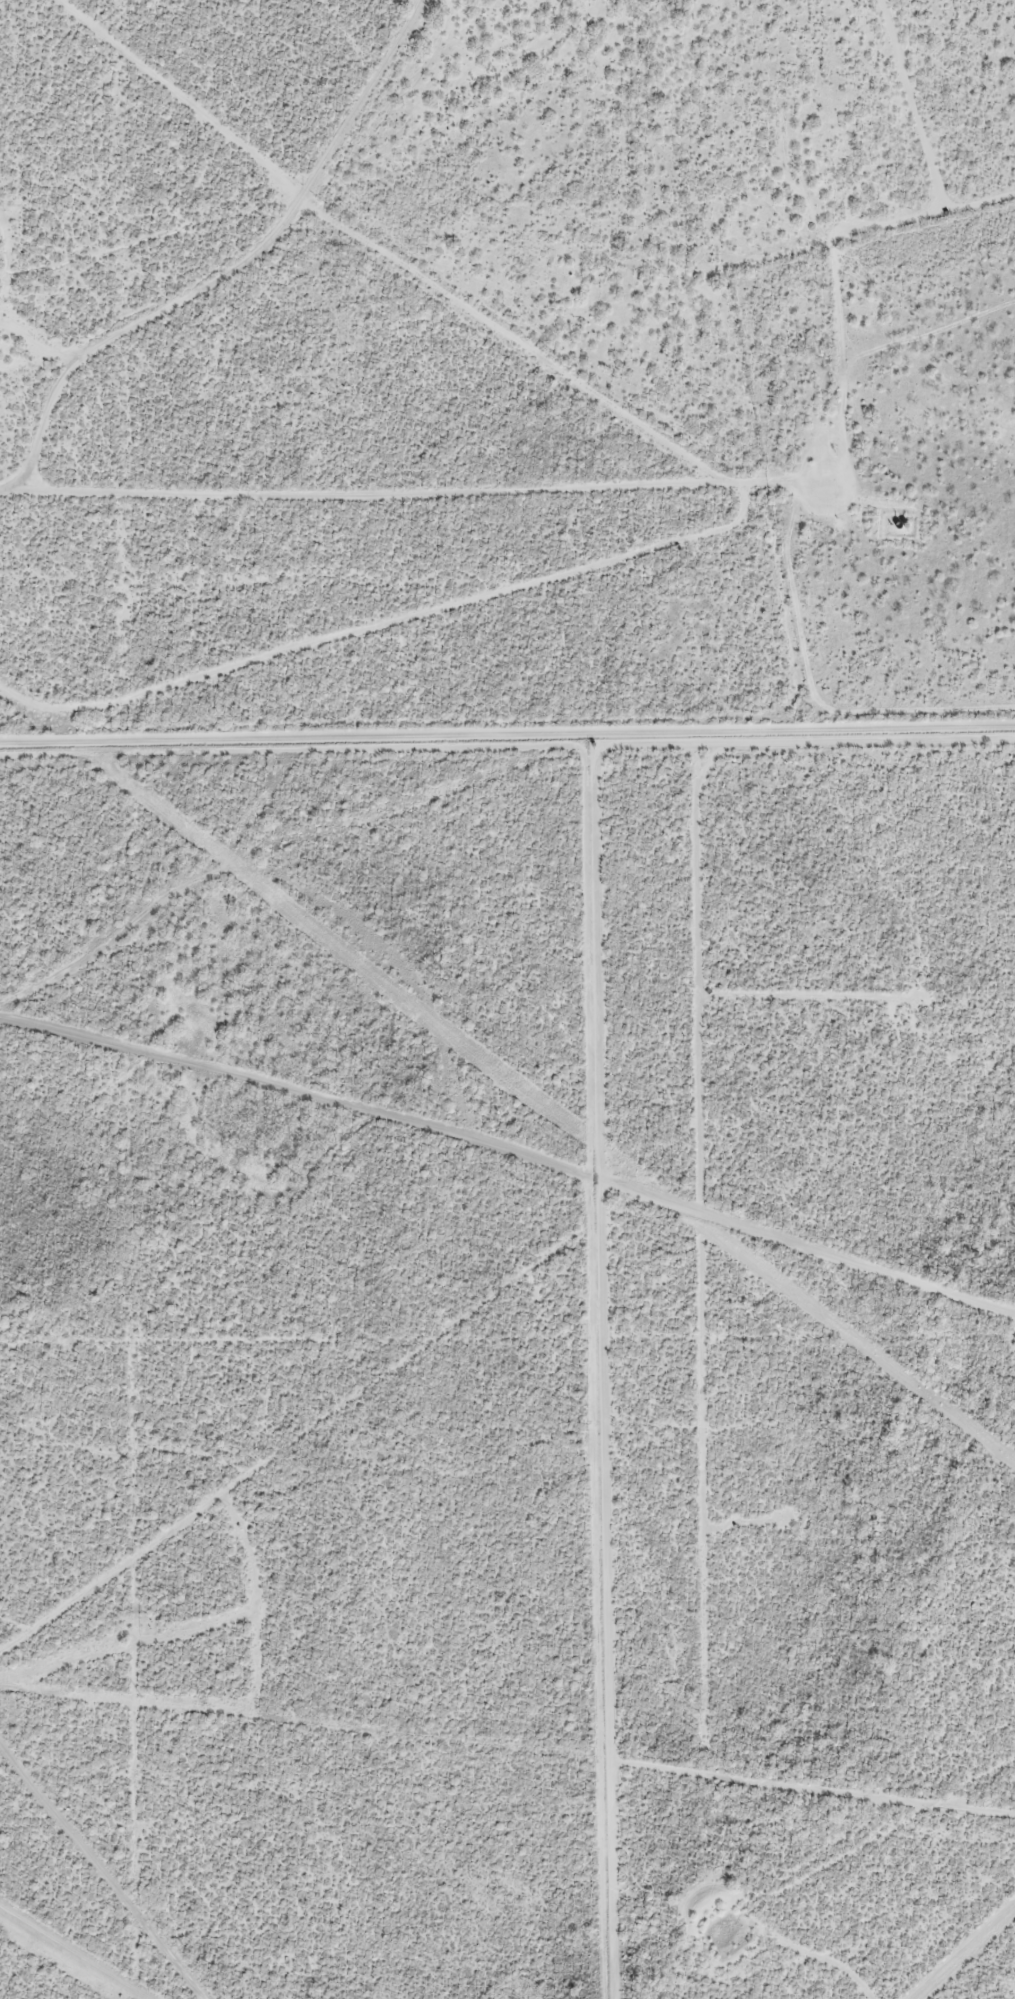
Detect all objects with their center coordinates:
road: (258, 201)
road: (506, 1465)
road: (112, 1855)

